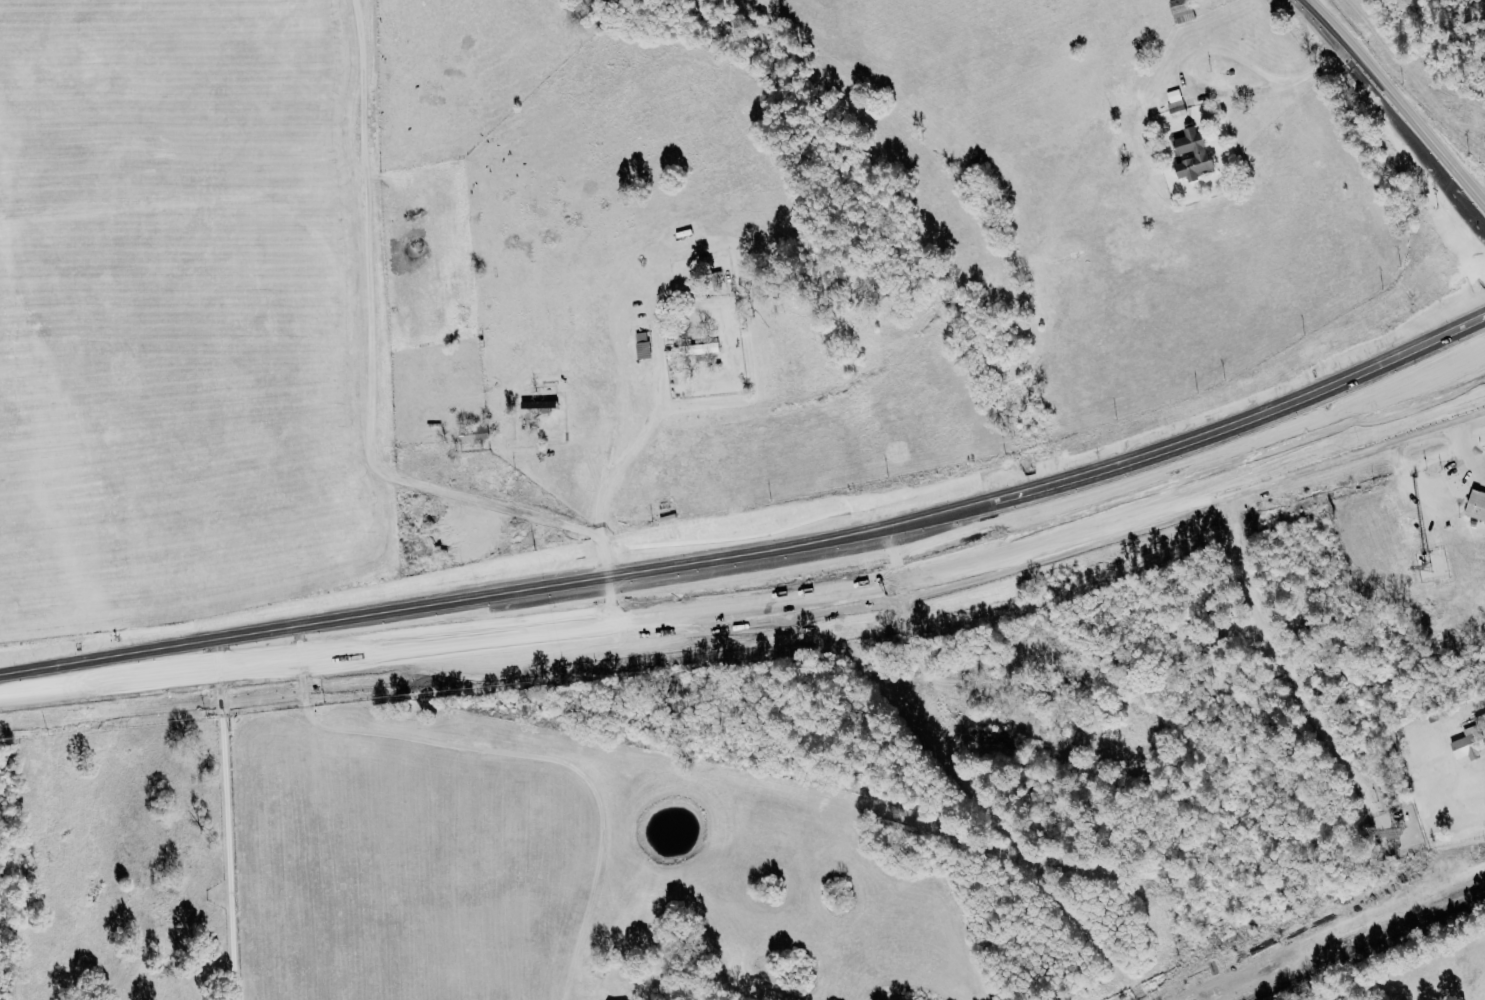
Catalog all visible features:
building: (1186, 10)
road: (1217, 51)
building: (1179, 102)
road: (1391, 109)
building: (1198, 154)
building: (700, 350)
building: (541, 404)
building: (479, 433)
road: (1465, 445)
road: (1406, 465)
road: (1484, 481)
road: (1452, 487)
road: (621, 499)
building: (1478, 505)
road: (817, 542)
road: (816, 595)
road: (60, 671)
building: (1473, 741)
road: (223, 829)
road: (1456, 849)
railway: (1365, 946)

